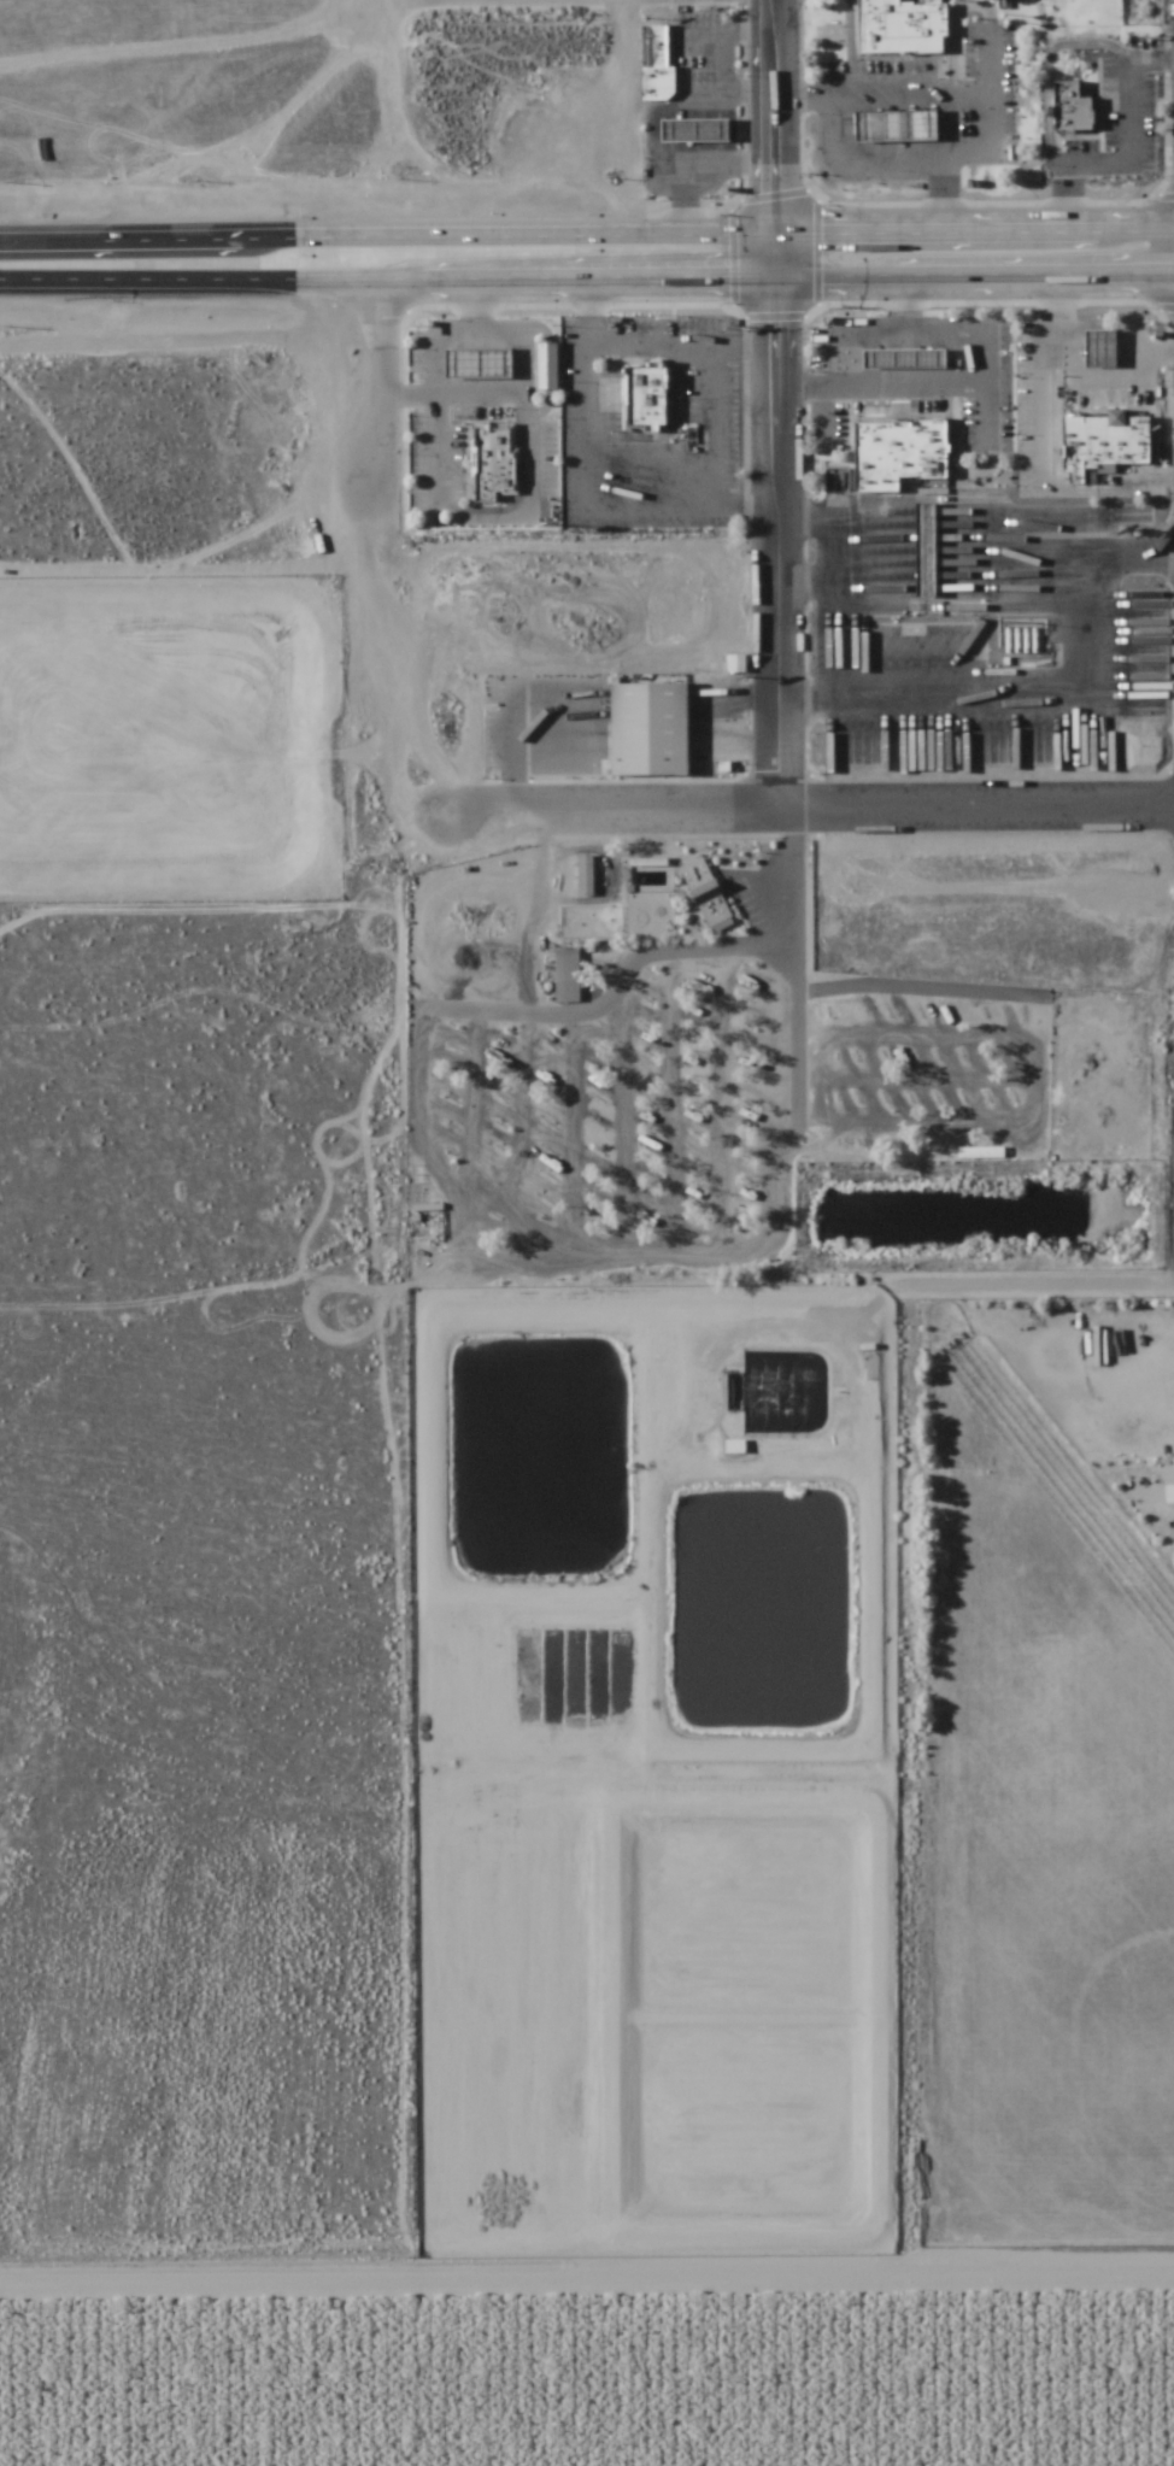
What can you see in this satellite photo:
building: (906, 27)
building: (661, 74)
road: (1050, 74)
road: (945, 96)
building: (1075, 99)
road: (956, 127)
building: (886, 128)
building: (697, 142)
road: (993, 142)
road: (894, 158)
road: (1126, 164)
road: (739, 265)
road: (152, 276)
road: (739, 288)
road: (152, 289)
road: (1058, 306)
road: (1133, 307)
road: (910, 310)
road: (476, 312)
road: (477, 333)
road: (984, 344)
road: (679, 345)
building: (1099, 350)
building: (911, 357)
building: (483, 362)
gas station: (483, 362)
building: (552, 364)
road: (554, 368)
road: (1100, 380)
building: (654, 391)
road: (389, 392)
road: (799, 392)
road: (466, 395)
road: (400, 397)
road: (1044, 399)
road: (774, 406)
road: (523, 410)
road: (824, 418)
road: (984, 423)
parking lot: (652, 427)
road: (716, 429)
road: (673, 431)
building: (491, 436)
building: (1108, 440)
building: (906, 451)
building: (522, 454)
building: (501, 469)
building: (523, 488)
road: (586, 494)
road: (522, 503)
road: (445, 504)
road: (486, 524)
road: (794, 530)
road: (967, 530)
building: (932, 548)
road: (1168, 566)
road: (794, 591)
road: (824, 591)
road: (835, 616)
road: (1057, 699)
road: (794, 701)
road: (815, 812)
building: (704, 892)
building: (567, 975)
building: (1168, 1475)
building: (973, 1679)
crop: (587, 1872)
road: (587, 2286)
crop: (585, 2370)

